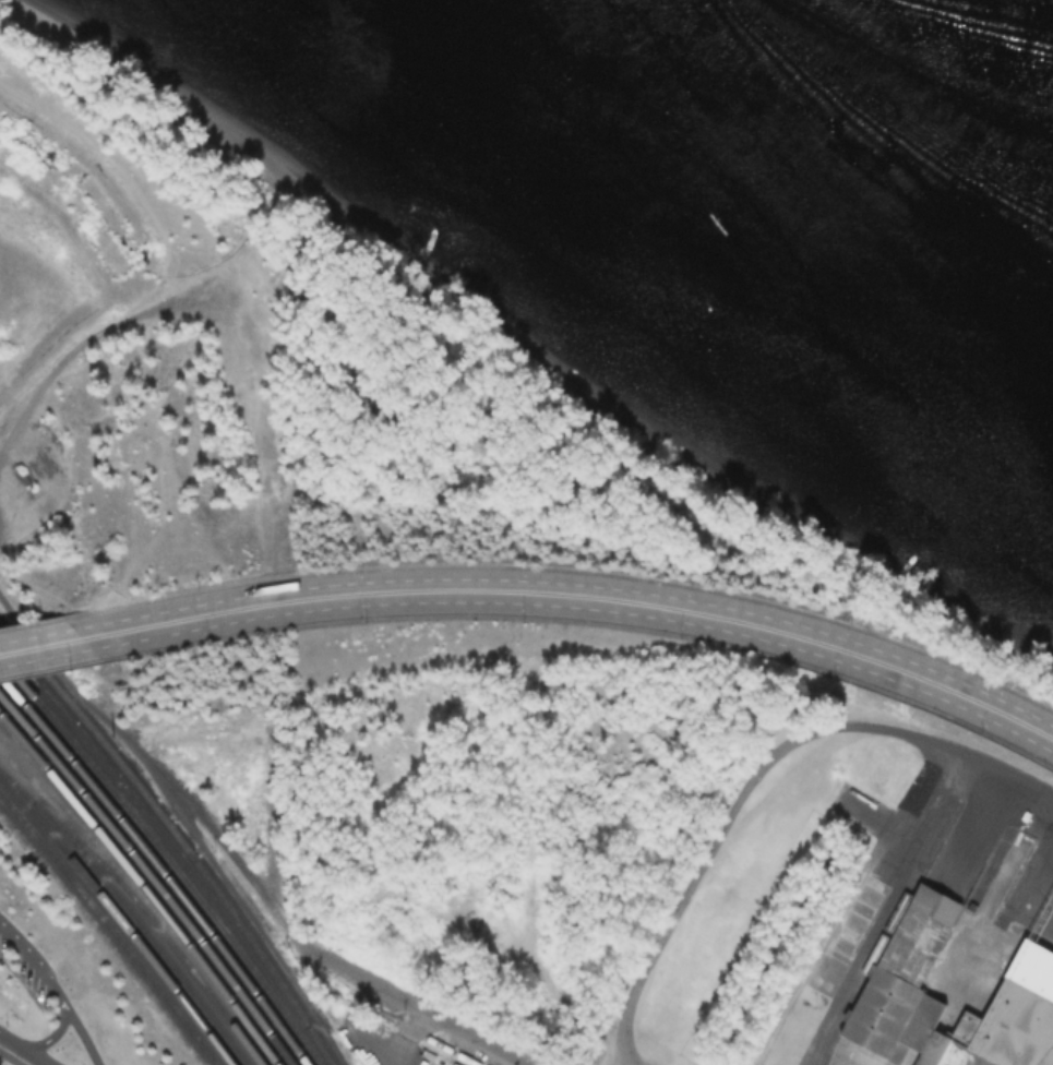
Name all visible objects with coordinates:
river: (893, 92)
road: (578, 571)
road: (589, 597)
road: (43, 621)
road: (603, 622)
road: (53, 644)
road: (65, 667)
railway: (175, 838)
railway: (165, 859)
railway: (157, 871)
railway: (148, 881)
railway: (141, 888)
railway: (141, 910)
railway: (118, 920)
railway: (109, 929)
railway: (144, 932)
railway: (886, 934)
building: (901, 971)
parking lot: (23, 973)
road: (52, 992)
road: (410, 1002)
road: (80, 1036)
road: (408, 1036)
railway: (418, 1037)
road: (24, 1049)
road: (11, 1057)

